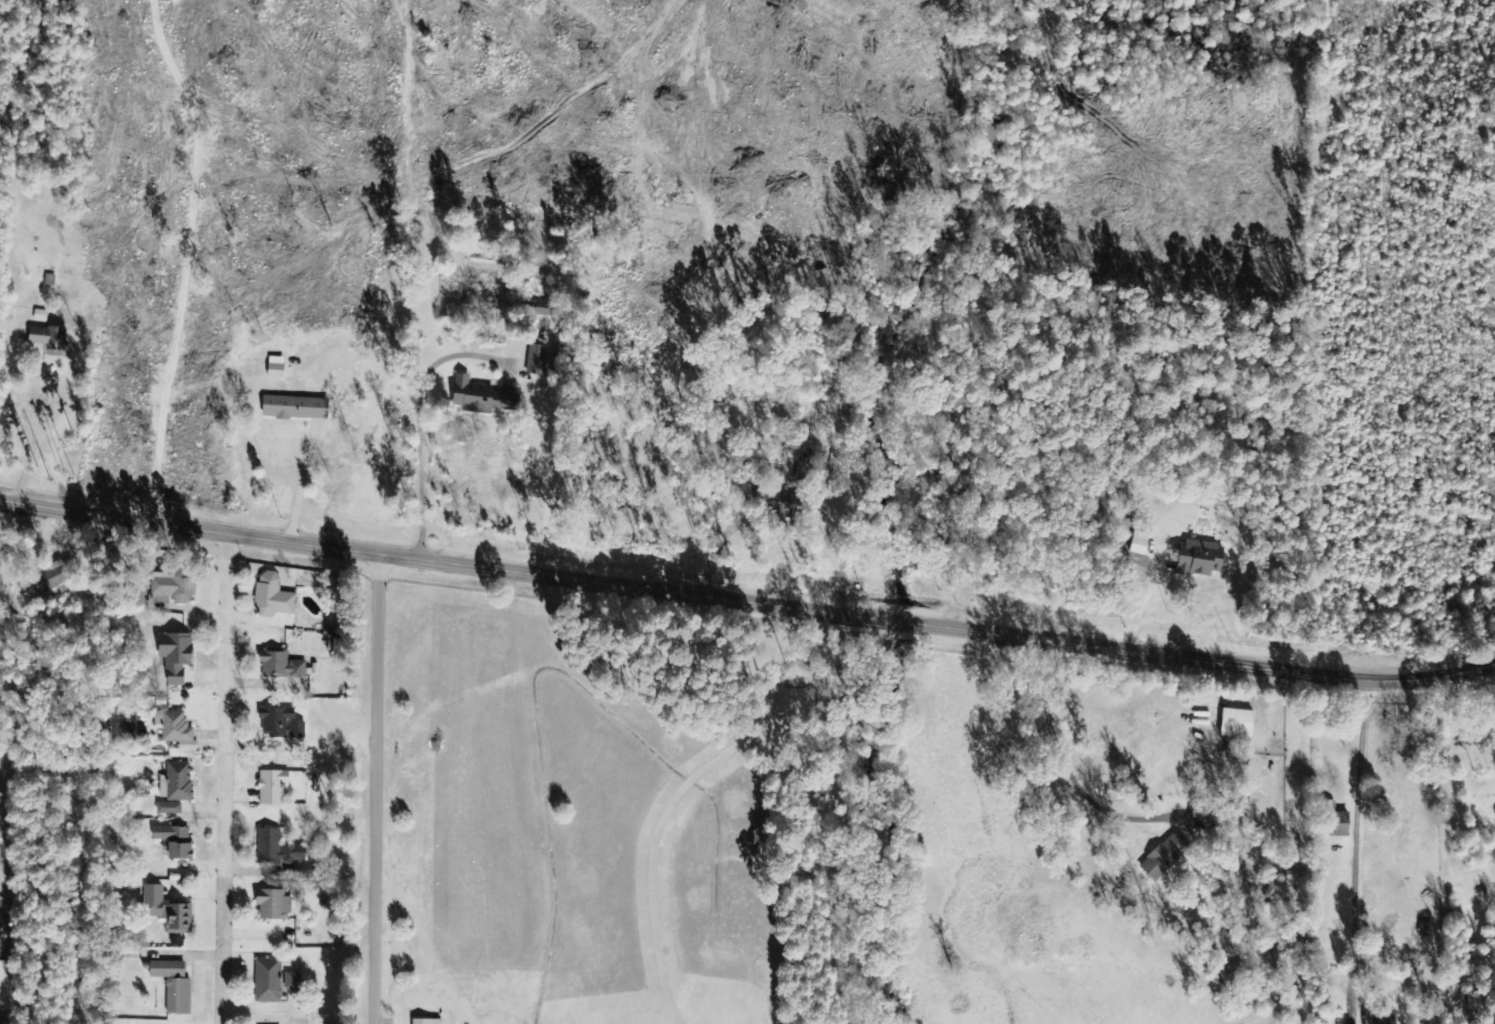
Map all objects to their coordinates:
building: (47, 338)
building: (537, 360)
building: (276, 371)
building: (484, 398)
building: (296, 408)
building: (807, 470)
building: (1200, 559)
building: (57, 577)
building: (173, 589)
building: (273, 597)
road: (746, 604)
building: (175, 656)
building: (281, 665)
building: (281, 724)
building: (1238, 724)
building: (176, 730)
road: (226, 778)
building: (272, 787)
building: (169, 808)
building: (1339, 824)
building: (175, 841)
building: (283, 854)
building: (1165, 857)
building: (274, 906)
building: (167, 910)
building: (268, 981)
building: (293, 982)
building: (174, 986)
building: (6, 988)
building: (1380, 1021)
building: (426, 1022)

